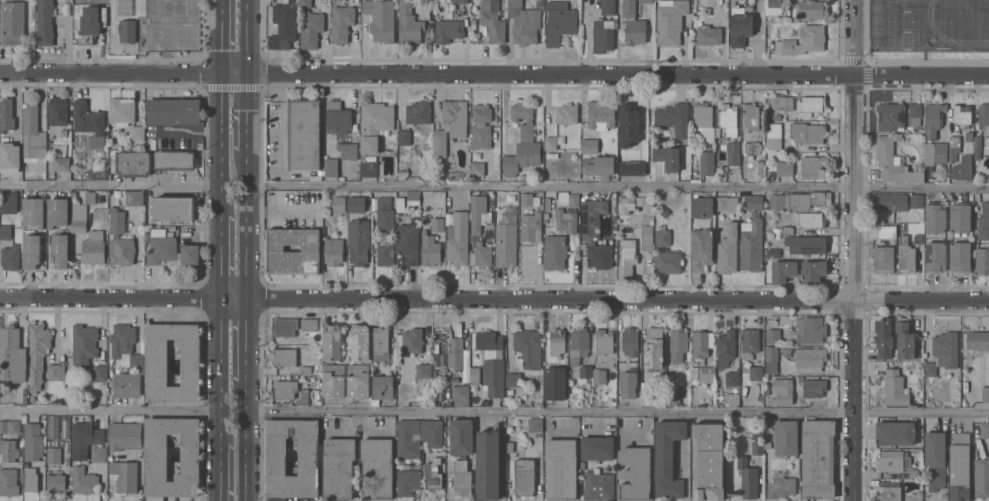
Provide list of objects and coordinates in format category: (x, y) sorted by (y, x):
building: (459, 1)
building: (647, 1)
building: (305, 3)
building: (749, 6)
building: (773, 6)
building: (122, 7)
building: (515, 8)
building: (811, 9)
building: (381, 18)
building: (783, 19)
building: (493, 20)
building: (12, 21)
building: (559, 21)
building: (671, 21)
building: (44, 22)
building: (342, 23)
building: (633, 23)
building: (410, 24)
building: (89, 25)
building: (283, 26)
building: (604, 27)
building: (740, 27)
building: (527, 28)
building: (311, 29)
building: (127, 30)
building: (449, 30)
road: (219, 33)
road: (246, 34)
building: (709, 34)
road: (756, 37)
building: (803, 40)
road: (494, 71)
road: (284, 83)
building: (784, 101)
building: (812, 105)
building: (58, 111)
building: (122, 111)
building: (174, 111)
building: (418, 112)
building: (567, 113)
building: (915, 113)
building: (6, 114)
building: (601, 114)
road: (245, 115)
building: (703, 115)
building: (962, 115)
building: (751, 116)
building: (777, 116)
building: (891, 116)
building: (984, 116)
building: (674, 118)
building: (728, 118)
building: (934, 118)
building: (90, 123)
building: (375, 124)
building: (451, 125)
building: (628, 125)
building: (482, 126)
building: (341, 128)
building: (804, 131)
building: (63, 132)
building: (137, 132)
building: (304, 134)
building: (707, 134)
building: (32, 135)
building: (969, 135)
road: (283, 136)
road: (219, 137)
building: (774, 140)
building: (409, 141)
building: (523, 142)
building: (551, 142)
building: (590, 145)
building: (752, 147)
building: (954, 147)
building: (977, 147)
building: (935, 152)
building: (732, 154)
building: (111, 155)
building: (9, 156)
building: (363, 157)
building: (404, 157)
building: (668, 157)
building: (175, 160)
building: (894, 160)
building: (415, 161)
building: (760, 162)
building: (707, 163)
building: (62, 164)
building: (134, 164)
building: (599, 165)
building: (331, 167)
building: (632, 167)
building: (785, 167)
building: (813, 167)
building: (371, 168)
building: (478, 168)
building: (963, 168)
building: (403, 173)
building: (427, 175)
building: (317, 176)
building: (524, 176)
road: (283, 181)
road: (109, 186)
road: (617, 187)
building: (73, 193)
building: (90, 197)
building: (412, 197)
building: (133, 199)
building: (529, 199)
building: (799, 199)
building: (916, 200)
building: (574, 201)
building: (755, 201)
building: (890, 201)
building: (9, 203)
building: (547, 203)
building: (626, 203)
building: (645, 203)
building: (726, 203)
building: (339, 204)
building: (356, 204)
building: (400, 204)
building: (701, 207)
building: (174, 208)
building: (985, 208)
building: (34, 211)
building: (58, 211)
building: (919, 212)
building: (385, 215)
building: (935, 216)
building: (960, 217)
building: (79, 218)
building: (810, 219)
building: (424, 220)
building: (566, 220)
building: (438, 224)
building: (919, 224)
building: (531, 226)
building: (662, 226)
building: (983, 227)
road: (245, 228)
building: (780, 230)
building: (5, 231)
building: (479, 231)
building: (886, 231)
building: (596, 234)
building: (647, 237)
building: (458, 238)
building: (489, 239)
building: (506, 239)
building: (918, 239)
building: (120, 240)
building: (359, 241)
building: (409, 243)
building: (807, 243)
building: (752, 245)
building: (94, 247)
building: (169, 248)
building: (702, 249)
building: (728, 249)
building: (32, 250)
building: (60, 250)
road: (854, 250)
building: (293, 251)
building: (334, 251)
building: (555, 251)
road: (220, 252)
building: (773, 252)
building: (385, 253)
building: (431, 253)
building: (666, 254)
building: (907, 255)
building: (935, 256)
building: (960, 256)
building: (10, 257)
building: (627, 257)
building: (885, 259)
building: (982, 260)
building: (784, 270)
building: (813, 270)
road: (494, 297)
building: (310, 323)
building: (285, 327)
building: (810, 329)
building: (773, 335)
building: (884, 337)
building: (905, 339)
building: (604, 340)
building: (978, 340)
building: (332, 341)
building: (410, 341)
building: (557, 341)
building: (630, 341)
building: (360, 342)
building: (749, 342)
road: (244, 343)
building: (125, 344)
building: (578, 344)
building: (678, 344)
building: (702, 344)
building: (84, 345)
building: (382, 346)
building: (529, 347)
building: (726, 347)
building: (654, 348)
building: (11, 350)
building: (943, 352)
building: (38, 353)
building: (456, 353)
building: (284, 356)
building: (771, 358)
building: (492, 361)
building: (810, 361)
building: (157, 365)
road: (220, 365)
building: (305, 369)
building: (424, 370)
building: (585, 371)
building: (55, 372)
building: (756, 372)
building: (100, 373)
building: (694, 374)
building: (706, 374)
building: (475, 375)
building: (599, 376)
building: (732, 378)
building: (513, 379)
building: (334, 381)
building: (358, 381)
building: (629, 382)
building: (555, 383)
building: (128, 384)
building: (813, 386)
building: (383, 387)
building: (895, 388)
building: (285, 389)
building: (510, 391)
building: (767, 391)
building: (783, 391)
building: (985, 393)
building: (460, 395)
building: (672, 395)
building: (304, 396)
building: (732, 398)
building: (648, 399)
building: (375, 401)
building: (485, 402)
building: (661, 404)
road: (110, 412)
road: (616, 412)
building: (535, 424)
building: (10, 426)
building: (52, 426)
building: (984, 429)
building: (895, 433)
building: (757, 434)
building: (125, 435)
building: (417, 436)
building: (786, 437)
building: (85, 438)
building: (33, 442)
building: (767, 444)
road: (244, 445)
building: (510, 447)
building: (598, 447)
building: (757, 447)
building: (8, 450)
building: (918, 450)
building: (157, 453)
building: (461, 453)
building: (99, 454)
building: (54, 455)
building: (276, 456)
building: (668, 457)
building: (818, 458)
building: (935, 459)
building: (709, 461)
building: (893, 461)
building: (26, 463)
building: (489, 464)
building: (959, 466)
road: (220, 467)
building: (339, 468)
building: (377, 468)
building: (562, 469)
building: (434, 473)
building: (635, 473)
road: (685, 473)
building: (914, 473)
building: (124, 476)
building: (524, 476)
building: (981, 477)
building: (748, 478)
building: (30, 479)
building: (84, 480)
building: (9, 481)
building: (408, 481)
building: (56, 482)
building: (598, 484)
building: (781, 485)
building: (889, 491)
building: (914, 496)

